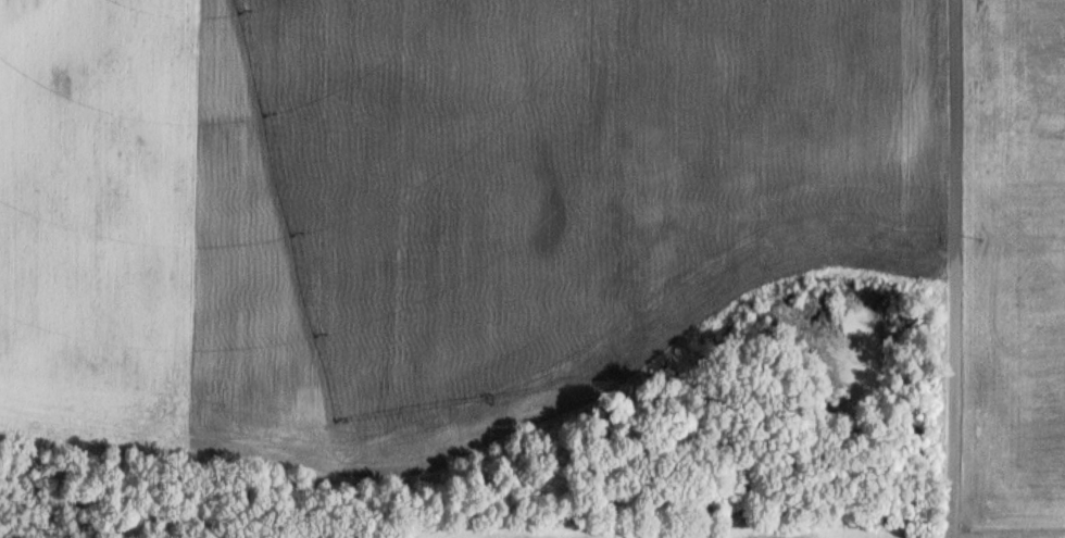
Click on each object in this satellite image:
road: (942, 268)

